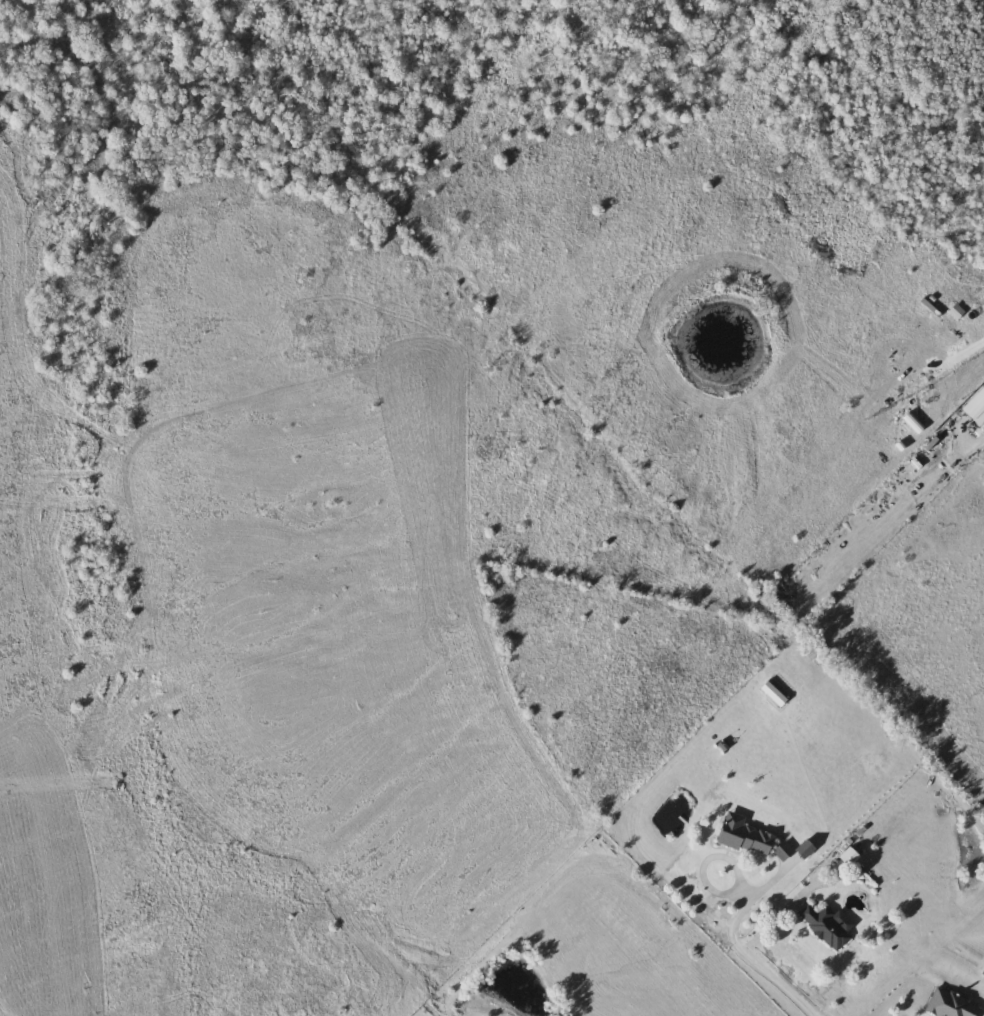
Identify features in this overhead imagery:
building: (977, 407)
building: (748, 835)
building: (853, 856)
road: (779, 915)
building: (826, 926)
road: (744, 952)
building: (951, 1005)

